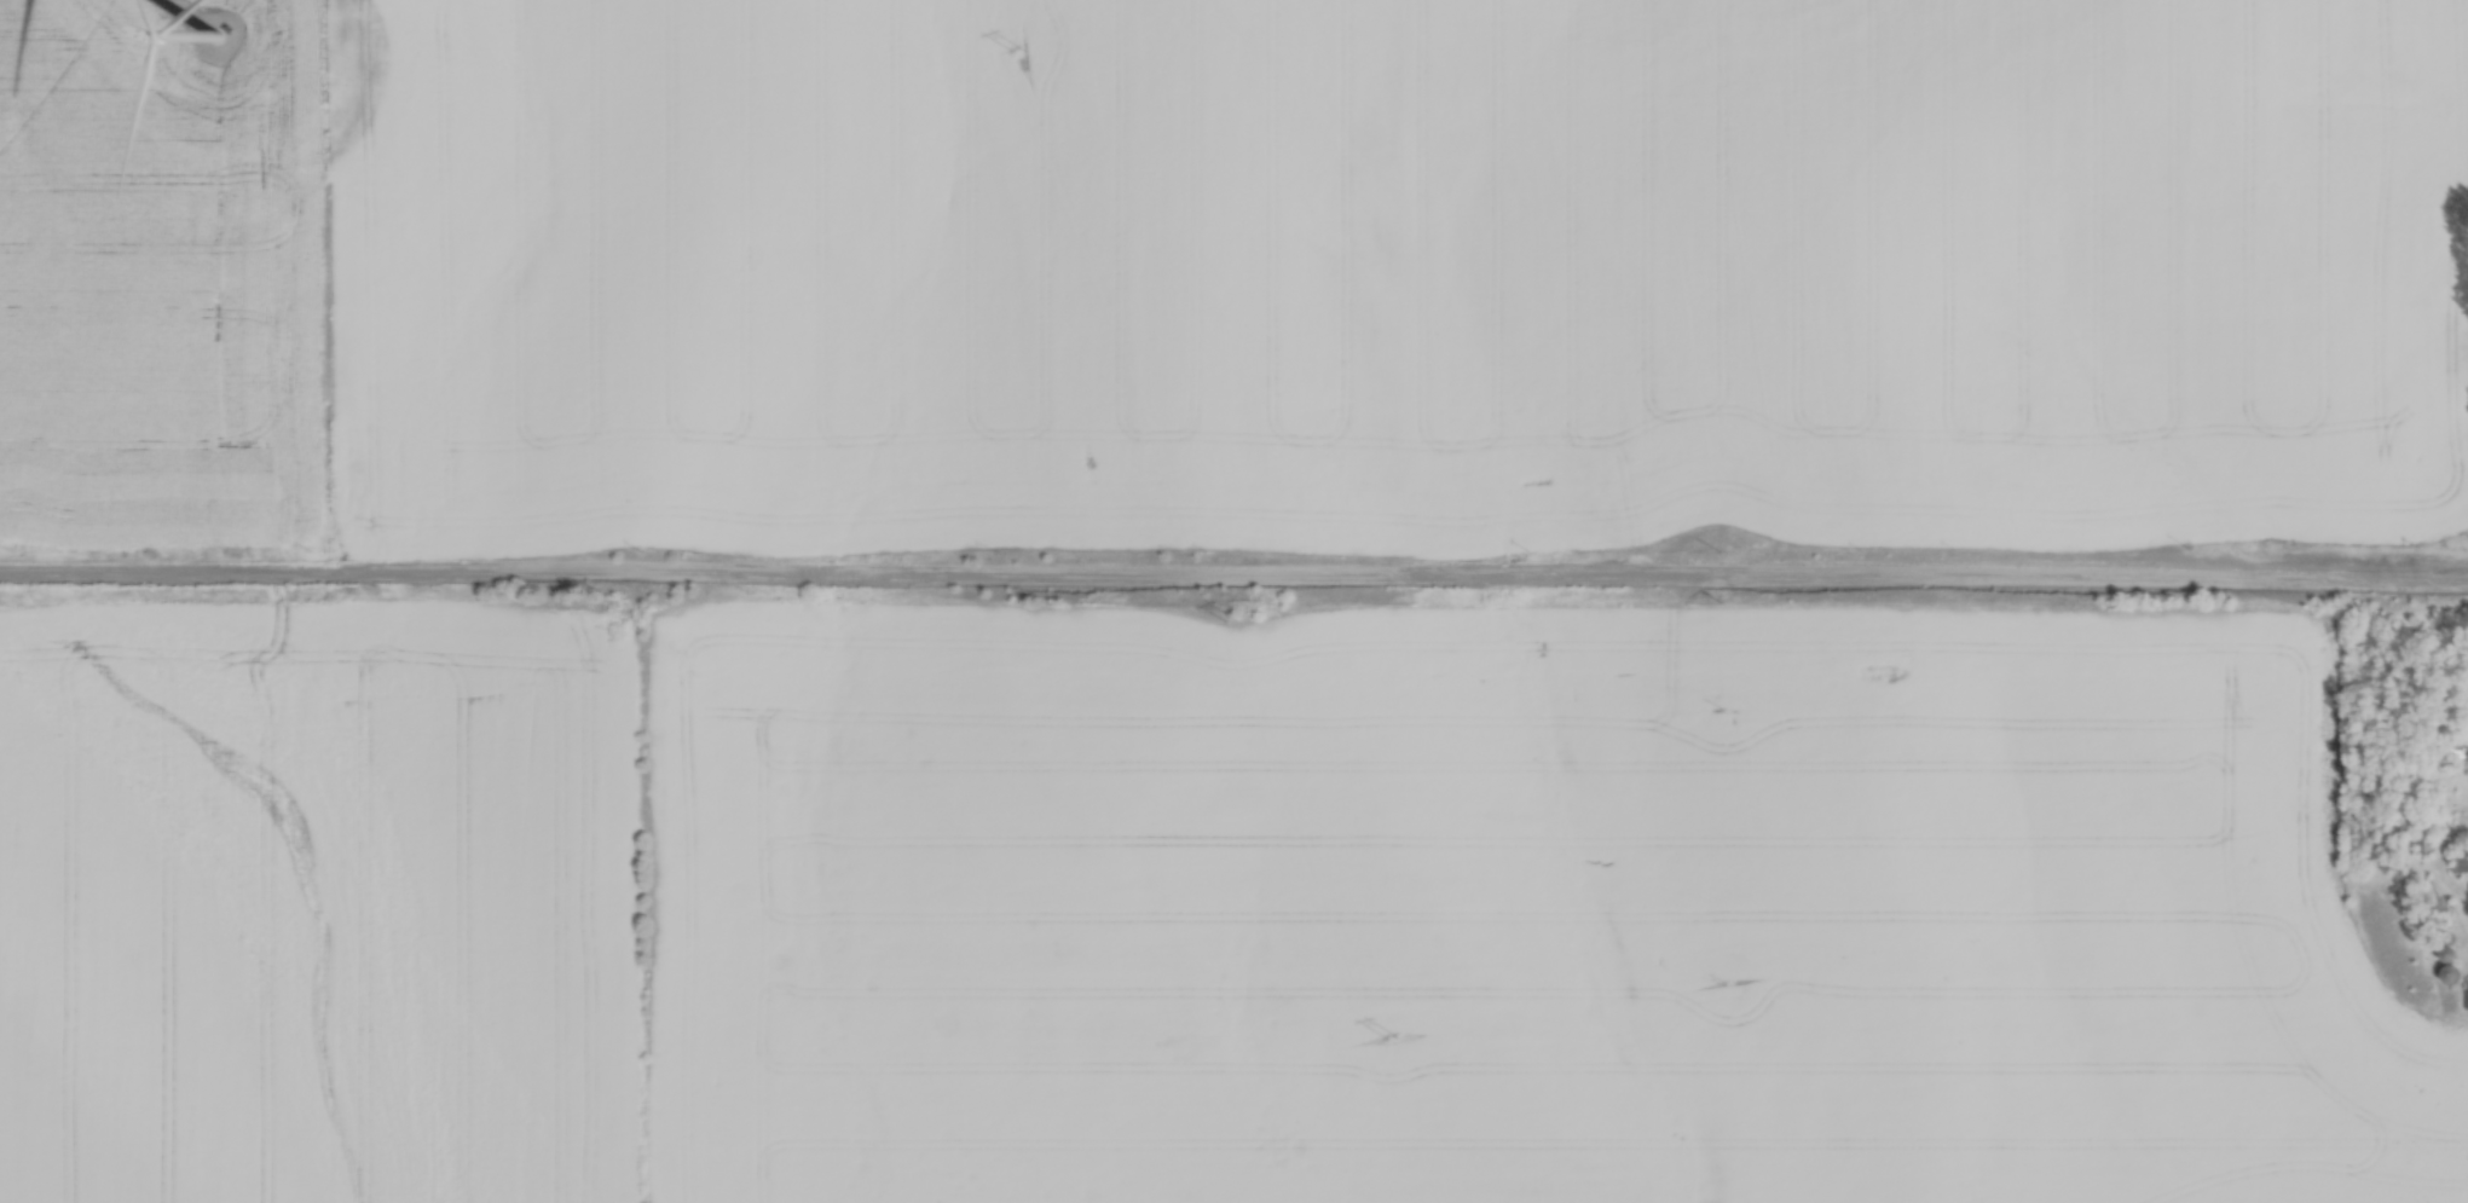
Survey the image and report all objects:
wind turbine: (218, 36)
power tower: (1018, 51)
road: (1233, 583)
power tower: (1237, 619)
building: (2457, 746)
building: (2427, 834)
building: (2461, 860)
building: (2452, 952)
building: (2451, 971)
building: (2466, 996)
power tower: (1395, 1037)

